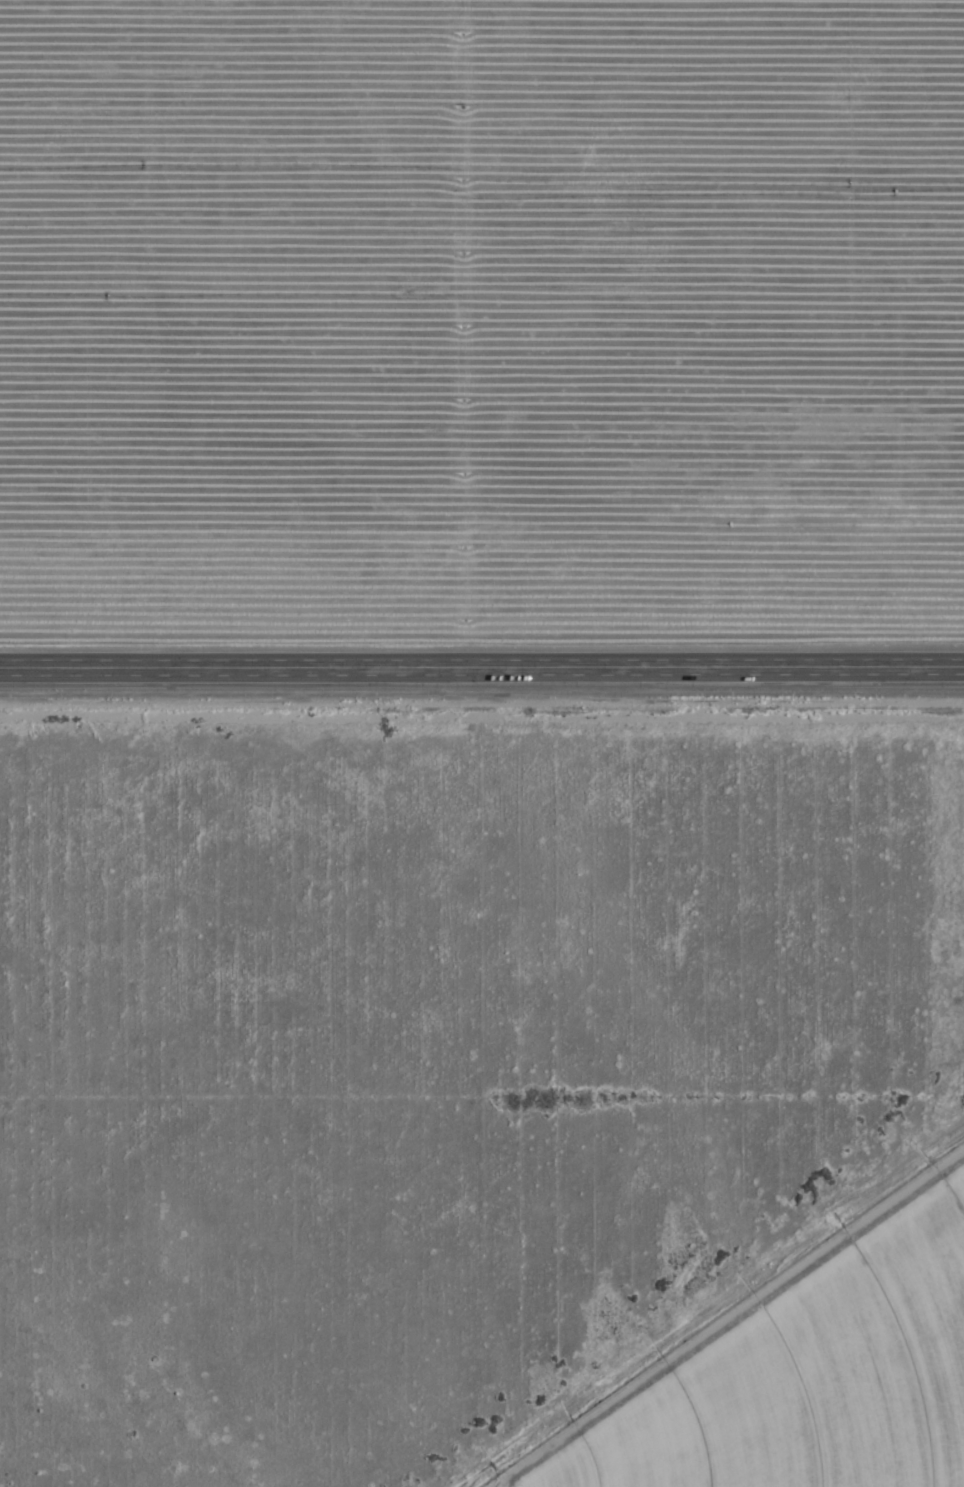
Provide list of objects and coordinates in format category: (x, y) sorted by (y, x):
crop: (480, 323)
road: (482, 657)
crop: (799, 1371)

